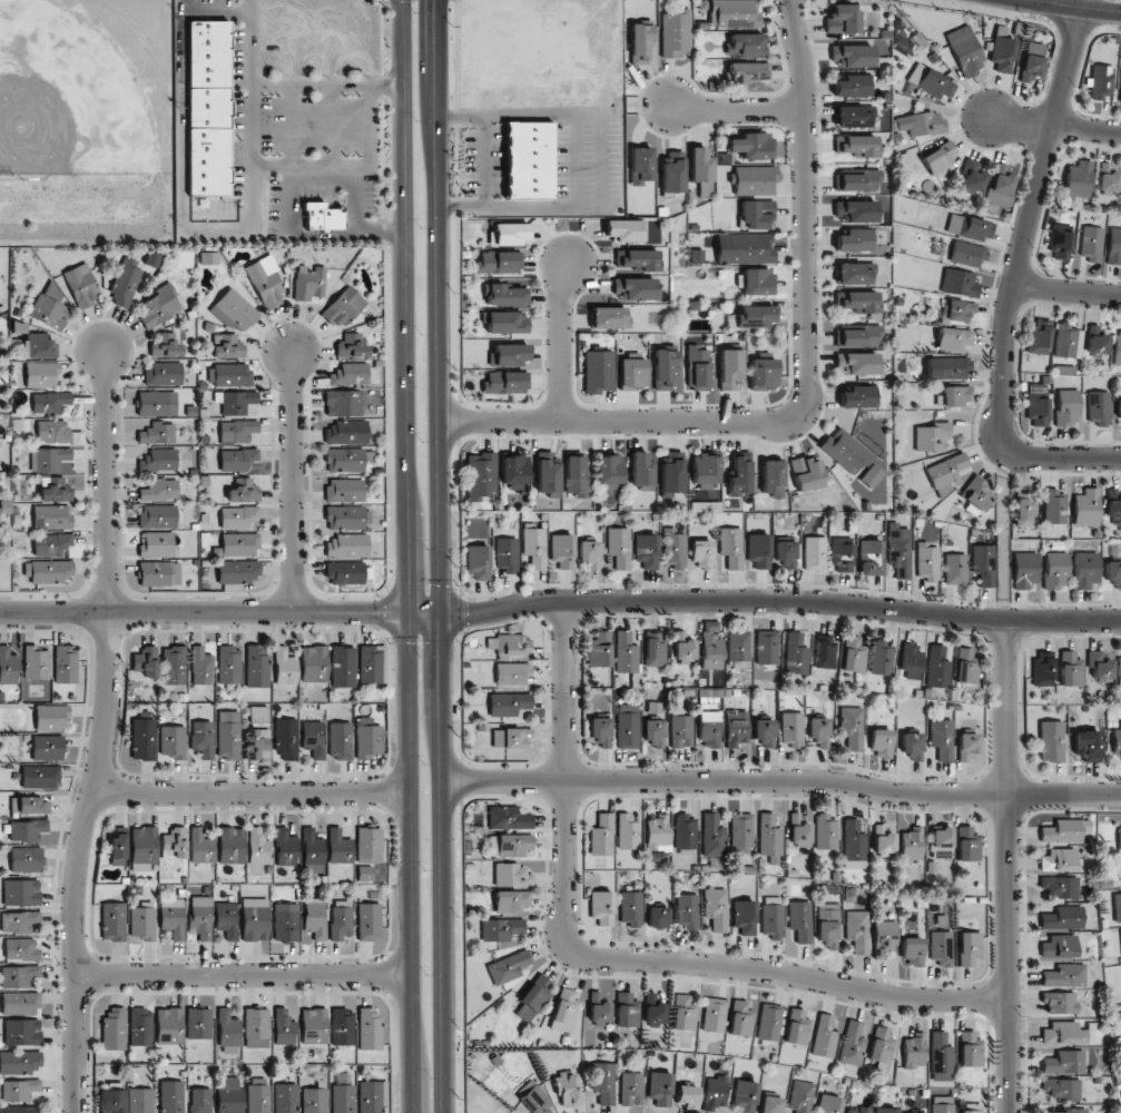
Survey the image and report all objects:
traffic signals: (439, 7)
road: (1068, 9)
building: (734, 13)
building: (843, 19)
building: (676, 33)
building: (746, 45)
building: (965, 50)
building: (1002, 50)
building: (208, 52)
building: (850, 56)
building: (1032, 61)
building: (748, 71)
building: (930, 81)
building: (1101, 81)
road: (326, 85)
park: (85, 86)
building: (853, 86)
building: (208, 106)
road: (737, 108)
building: (854, 116)
building: (921, 124)
road: (1053, 128)
building: (855, 145)
building: (757, 146)
building: (938, 158)
building: (529, 159)
building: (208, 161)
building: (641, 165)
building: (699, 165)
building: (672, 171)
building: (973, 175)
building: (1108, 177)
building: (754, 179)
building: (856, 179)
building: (1078, 179)
building: (1002, 184)
road: (802, 204)
building: (856, 210)
building: (756, 214)
building: (322, 217)
building: (970, 227)
road: (216, 229)
building: (626, 230)
road: (294, 234)
building: (509, 234)
building: (854, 240)
building: (1060, 243)
building: (1091, 244)
building: (1114, 246)
building: (744, 248)
building: (967, 254)
building: (208, 257)
building: (183, 259)
building: (637, 259)
building: (500, 262)
building: (854, 273)
road: (1014, 277)
building: (265, 282)
building: (757, 282)
building: (125, 283)
building: (309, 283)
building: (958, 283)
building: (80, 285)
building: (635, 288)
road: (1066, 290)
building: (507, 295)
building: (858, 301)
building: (158, 306)
building: (343, 306)
building: (50, 307)
building: (960, 309)
building: (235, 311)
building: (755, 316)
building: (609, 317)
building: (507, 322)
building: (857, 335)
building: (1039, 336)
building: (954, 338)
building: (1097, 339)
building: (1068, 341)
building: (164, 345)
building: (39, 346)
building: (351, 346)
road: (563, 346)
building: (1117, 346)
building: (228, 347)
building: (510, 354)
building: (698, 367)
building: (946, 367)
building: (663, 368)
building: (730, 370)
building: (599, 371)
building: (163, 373)
building: (632, 373)
building: (41, 374)
building: (348, 374)
building: (763, 374)
building: (228, 375)
building: (507, 382)
building: (956, 395)
building: (857, 396)
building: (49, 402)
building: (235, 402)
building: (157, 403)
building: (342, 403)
building: (1038, 405)
building: (1068, 407)
building: (1098, 407)
building: (1119, 408)
road: (621, 422)
building: (52, 431)
building: (237, 431)
building: (345, 432)
building: (157, 433)
building: (932, 436)
building: (845, 451)
building: (49, 459)
building: (237, 459)
building: (159, 460)
building: (345, 460)
building: (513, 470)
building: (641, 470)
building: (705, 470)
building: (945, 470)
building: (609, 471)
building: (547, 472)
building: (671, 472)
building: (807, 473)
building: (481, 475)
building: (576, 475)
building: (740, 475)
building: (872, 475)
building: (773, 477)
road: (294, 482)
building: (57, 490)
building: (159, 490)
building: (344, 490)
building: (244, 491)
building: (975, 493)
building: (1113, 504)
building: (1054, 506)
building: (1086, 508)
building: (1025, 510)
building: (51, 516)
building: (157, 516)
building: (238, 516)
building: (345, 518)
building: (51, 544)
building: (156, 544)
building: (239, 544)
building: (345, 545)
building: (534, 546)
building: (619, 548)
building: (731, 548)
building: (675, 549)
building: (899, 550)
building: (562, 551)
building: (647, 551)
building: (759, 551)
building: (786, 553)
building: (815, 553)
building: (507, 554)
building: (589, 554)
building: (702, 554)
building: (842, 554)
road: (405, 555)
road: (441, 556)
building: (871, 558)
building: (927, 561)
building: (478, 562)
building: (983, 564)
building: (955, 569)
building: (1024, 570)
building: (1085, 570)
building: (49, 571)
building: (237, 571)
building: (1055, 571)
building: (344, 572)
building: (159, 573)
building: (1113, 573)
road: (781, 600)
road: (424, 612)
road: (203, 613)
building: (510, 644)
building: (766, 647)
building: (600, 648)
building: (684, 648)
building: (653, 649)
building: (738, 649)
building: (825, 651)
building: (626, 652)
building: (796, 654)
building: (853, 654)
building: (882, 658)
building: (909, 658)
building: (146, 661)
building: (36, 662)
building: (314, 663)
building: (372, 663)
building: (66, 664)
building: (229, 664)
building: (1100, 664)
building: (174, 666)
building: (201, 666)
building: (965, 666)
building: (8, 667)
building: (256, 667)
building: (285, 667)
building: (342, 667)
building: (936, 667)
building: (1042, 669)
building: (1070, 669)
building: (1119, 672)
building: (513, 673)
building: (508, 703)
building: (655, 709)
building: (258, 713)
building: (50, 717)
building: (628, 727)
building: (737, 727)
building: (852, 727)
building: (709, 729)
building: (793, 729)
building: (600, 731)
building: (681, 731)
building: (764, 732)
building: (818, 732)
building: (653, 733)
road: (104, 735)
building: (228, 736)
building: (201, 738)
building: (313, 738)
building: (367, 738)
building: (510, 738)
building: (142, 739)
building: (286, 739)
building: (942, 739)
building: (1117, 740)
building: (173, 741)
building: (340, 741)
building: (1051, 741)
building: (257, 743)
building: (881, 743)
building: (912, 745)
building: (1088, 745)
building: (966, 746)
building: (47, 748)
building: (40, 777)
road: (783, 781)
road: (252, 791)
building: (28, 805)
building: (509, 818)
building: (27, 830)
building: (799, 830)
building: (1064, 830)
building: (628, 831)
building: (657, 831)
building: (825, 833)
building: (741, 834)
building: (686, 835)
building: (602, 836)
building: (712, 836)
building: (1119, 837)
building: (769, 838)
building: (883, 841)
building: (174, 844)
building: (941, 844)
building: (966, 844)
building: (230, 845)
building: (368, 845)
building: (511, 845)
building: (854, 845)
building: (911, 845)
building: (200, 847)
building: (257, 847)
building: (338, 847)
building: (117, 848)
building: (285, 848)
building: (142, 849)
building: (312, 851)
building: (26, 859)
building: (1058, 860)
road: (1009, 866)
building: (364, 871)
building: (512, 875)
building: (1060, 887)
building: (21, 892)
building: (511, 900)
building: (601, 907)
building: (1118, 907)
building: (631, 908)
building: (716, 908)
building: (687, 910)
building: (745, 916)
building: (173, 917)
building: (201, 917)
building: (658, 917)
building: (773, 917)
building: (1062, 918)
building: (226, 919)
building: (255, 919)
building: (341, 919)
building: (314, 920)
building: (800, 920)
building: (19, 922)
building: (112, 922)
building: (142, 922)
building: (285, 922)
building: (368, 922)
building: (828, 925)
building: (501, 928)
building: (857, 930)
building: (1120, 932)
building: (884, 939)
building: (1059, 946)
building: (941, 947)
building: (21, 949)
building: (968, 949)
building: (912, 952)
road: (618, 959)
building: (509, 967)
building: (19, 975)
building: (1064, 975)
road: (243, 976)
building: (534, 997)
building: (1060, 1002)
building: (20, 1003)
building: (599, 1007)
building: (655, 1008)
building: (566, 1009)
building: (627, 1009)
building: (684, 1013)
building: (714, 1014)
building: (740, 1018)
building: (769, 1022)
building: (198, 1023)
building: (168, 1026)
building: (313, 1026)
building: (140, 1027)
building: (256, 1027)
building: (283, 1027)
building: (342, 1027)
building: (797, 1027)
building: (114, 1028)
building: (227, 1028)
building: (370, 1030)
building: (22, 1032)
building: (1063, 1033)
building: (825, 1036)
building: (852, 1044)
building: (881, 1047)
building: (970, 1050)
building: (914, 1051)
building: (941, 1057)
building: (20, 1062)
building: (1064, 1062)
building: (603, 1082)
building: (20, 1089)
building: (631, 1089)
building: (659, 1089)
building: (1062, 1089)
building: (568, 1090)
building: (715, 1092)
building: (229, 1094)
building: (258, 1095)
building: (745, 1095)
building: (171, 1096)
building: (372, 1096)
building: (687, 1096)
building: (802, 1096)
building: (285, 1097)
building: (343, 1099)
building: (140, 1100)
building: (200, 1100)
building: (111, 1101)
building: (314, 1101)
building: (534, 1102)
building: (770, 1104)
building: (828, 1104)
building: (943, 1104)
building: (971, 1107)
building: (20, 1110)
building: (855, 1110)
building: (885, 1110)
building: (1064, 1111)
building: (915, 1112)

